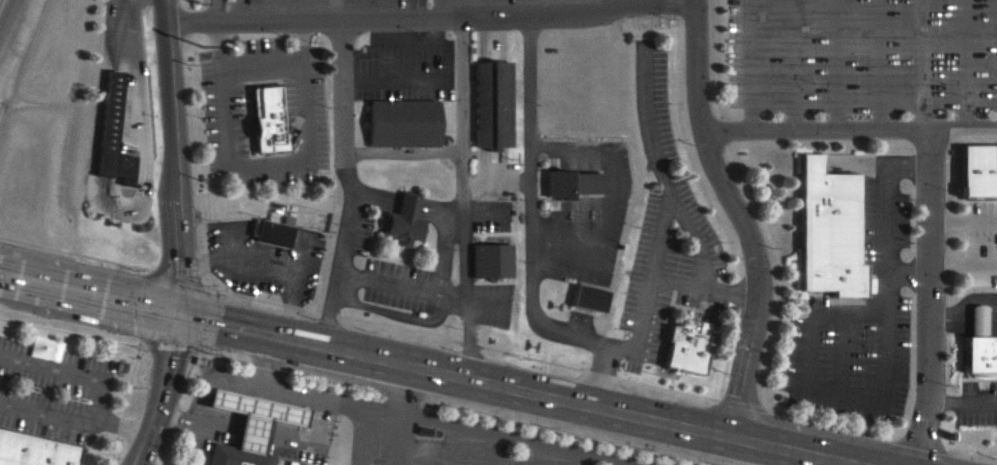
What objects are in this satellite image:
road: (6, 13)
road: (428, 15)
building: (481, 110)
building: (264, 120)
building: (393, 127)
road: (847, 129)
building: (110, 133)
road: (176, 159)
road: (905, 166)
building: (972, 179)
building: (571, 183)
road: (349, 185)
road: (740, 218)
building: (402, 221)
building: (823, 230)
building: (270, 233)
building: (481, 266)
road: (906, 273)
road: (883, 285)
road: (929, 297)
building: (578, 306)
road: (847, 316)
traffic signals: (180, 319)
building: (684, 344)
road: (806, 350)
road: (839, 355)
road: (261, 361)
building: (968, 361)
road: (428, 373)
road: (163, 393)
road: (838, 394)
road: (378, 408)
building: (261, 416)
road: (402, 417)
road: (357, 434)
road: (450, 445)
road: (492, 450)
road: (533, 455)
building: (27, 456)
building: (245, 457)
road: (573, 459)
road: (616, 464)

